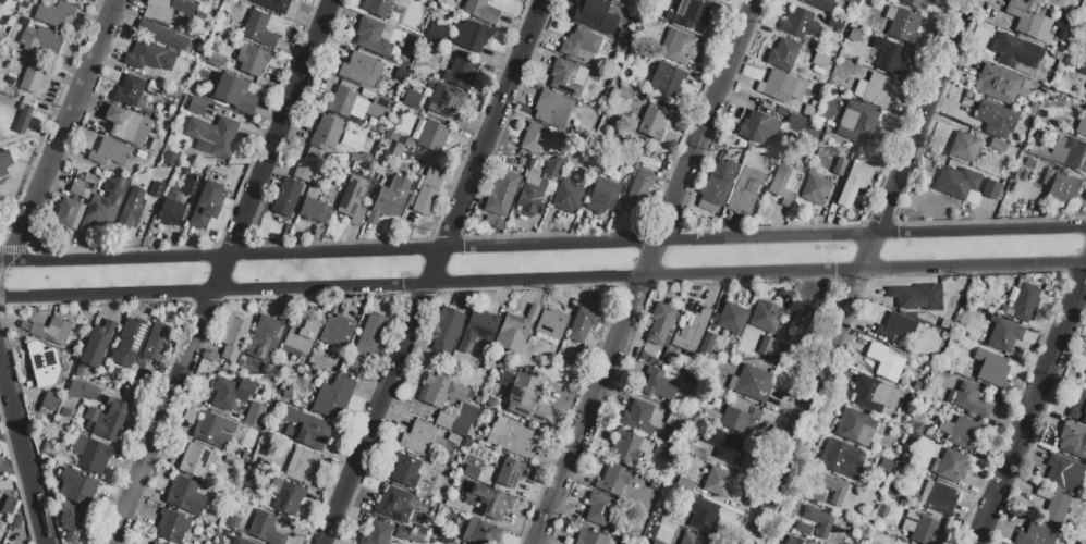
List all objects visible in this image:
building: (1, 1)
building: (205, 1)
building: (852, 1)
building: (1030, 1)
building: (917, 2)
building: (818, 3)
building: (272, 4)
building: (379, 4)
road: (525, 5)
road: (736, 5)
building: (1083, 5)
road: (550, 8)
building: (167, 9)
building: (479, 11)
building: (53, 12)
building: (210, 12)
building: (590, 12)
building: (691, 13)
building: (1023, 18)
building: (798, 22)
building: (901, 22)
building: (834, 23)
building: (258, 29)
road: (753, 30)
building: (435, 32)
building: (162, 34)
building: (471, 34)
building: (853, 34)
building: (371, 37)
building: (40, 41)
building: (579, 42)
building: (678, 46)
building: (1070, 47)
building: (621, 49)
building: (1015, 50)
building: (782, 53)
building: (888, 54)
building: (148, 55)
building: (637, 57)
building: (819, 57)
building: (215, 59)
building: (252, 59)
road: (291, 59)
building: (186, 62)
road: (315, 65)
building: (359, 67)
building: (1082, 69)
building: (461, 72)
building: (33, 76)
building: (563, 76)
building: (668, 77)
building: (773, 83)
building: (997, 84)
building: (1025, 84)
building: (873, 89)
building: (129, 90)
building: (169, 90)
building: (1021, 91)
building: (624, 92)
building: (234, 94)
road: (934, 94)
building: (1085, 96)
building: (340, 100)
building: (436, 100)
road: (715, 101)
building: (196, 104)
road: (289, 107)
building: (377, 107)
building: (552, 108)
building: (1032, 109)
road: (937, 111)
road: (903, 116)
building: (995, 118)
building: (23, 119)
building: (793, 121)
building: (857, 121)
building: (650, 123)
building: (1081, 123)
building: (126, 124)
building: (757, 127)
road: (63, 132)
building: (326, 132)
building: (215, 135)
building: (432, 135)
building: (537, 138)
building: (963, 145)
building: (997, 145)
building: (110, 152)
building: (1075, 154)
building: (168, 157)
building: (4, 162)
building: (1028, 162)
building: (839, 165)
building: (551, 168)
building: (605, 170)
building: (303, 173)
building: (855, 178)
building: (721, 181)
building: (955, 182)
building: (784, 184)
building: (1062, 187)
building: (156, 188)
building: (991, 188)
building: (744, 189)
building: (814, 189)
building: (78, 190)
building: (637, 190)
building: (427, 191)
building: (501, 193)
building: (529, 193)
building: (600, 195)
building: (566, 196)
building: (286, 197)
building: (353, 199)
building: (389, 199)
building: (174, 202)
building: (207, 203)
building: (103, 205)
building: (315, 209)
building: (1034, 209)
building: (130, 211)
building: (69, 212)
road: (886, 212)
road: (669, 215)
road: (1063, 218)
building: (500, 226)
road: (237, 235)
road: (542, 246)
road: (652, 256)
road: (435, 272)
road: (222, 275)
road: (542, 281)
building: (916, 295)
road: (1076, 298)
building: (1024, 300)
road: (634, 302)
road: (207, 312)
building: (765, 316)
building: (731, 319)
building: (797, 320)
building: (944, 322)
building: (550, 323)
building: (660, 323)
building: (581, 324)
building: (895, 325)
building: (446, 329)
building: (477, 329)
building: (49, 330)
building: (515, 330)
building: (691, 330)
building: (1004, 334)
building: (297, 335)
building: (370, 335)
building: (232, 336)
building: (334, 336)
building: (265, 337)
building: (156, 341)
building: (129, 343)
building: (96, 344)
building: (708, 344)
building: (765, 344)
building: (779, 346)
building: (925, 357)
building: (489, 361)
building: (883, 361)
building: (47, 367)
building: (444, 367)
building: (136, 368)
building: (990, 368)
building: (78, 370)
building: (926, 374)
building: (1085, 376)
building: (658, 384)
building: (754, 385)
building: (916, 386)
road: (814, 390)
building: (82, 391)
building: (230, 391)
building: (873, 394)
building: (333, 397)
building: (528, 397)
building: (50, 399)
building: (969, 399)
building: (436, 404)
building: (1079, 406)
building: (254, 413)
building: (636, 416)
building: (676, 419)
building: (110, 420)
building: (739, 423)
building: (856, 426)
building: (915, 426)
building: (305, 428)
building: (212, 429)
building: (962, 431)
road: (581, 432)
road: (1022, 432)
road: (156, 437)
building: (513, 437)
building: (420, 438)
building: (453, 438)
building: (1073, 440)
building: (629, 445)
building: (728, 448)
building: (51, 450)
building: (662, 450)
building: (700, 452)
road: (23, 453)
building: (90, 453)
building: (453, 455)
building: (0, 458)
building: (194, 459)
building: (839, 459)
building: (886, 465)
building: (950, 465)
building: (302, 467)
building: (405, 469)
building: (471, 471)
building: (510, 472)
building: (1063, 472)
building: (612, 479)
building: (719, 484)
building: (686, 485)
building: (75, 486)
building: (834, 489)
building: (892, 490)
building: (875, 494)
building: (184, 495)
building: (285, 495)
building: (816, 495)
building: (938, 497)
building: (488, 499)
building: (1052, 504)
building: (394, 505)
building: (7, 506)
building: (460, 507)
building: (598, 508)
building: (881, 509)
building: (706, 519)
building: (818, 519)
building: (71, 520)
building: (16, 521)
building: (171, 526)
building: (802, 527)
building: (922, 528)
building: (265, 529)
building: (480, 532)
building: (376, 533)
building: (415, 534)
building: (1036, 534)
building: (443, 536)
building: (627, 536)
building: (589, 537)
building: (692, 539)
building: (239, 541)
building: (793, 541)
building: (656, 542)
building: (155, 543)
building: (569, 543)

